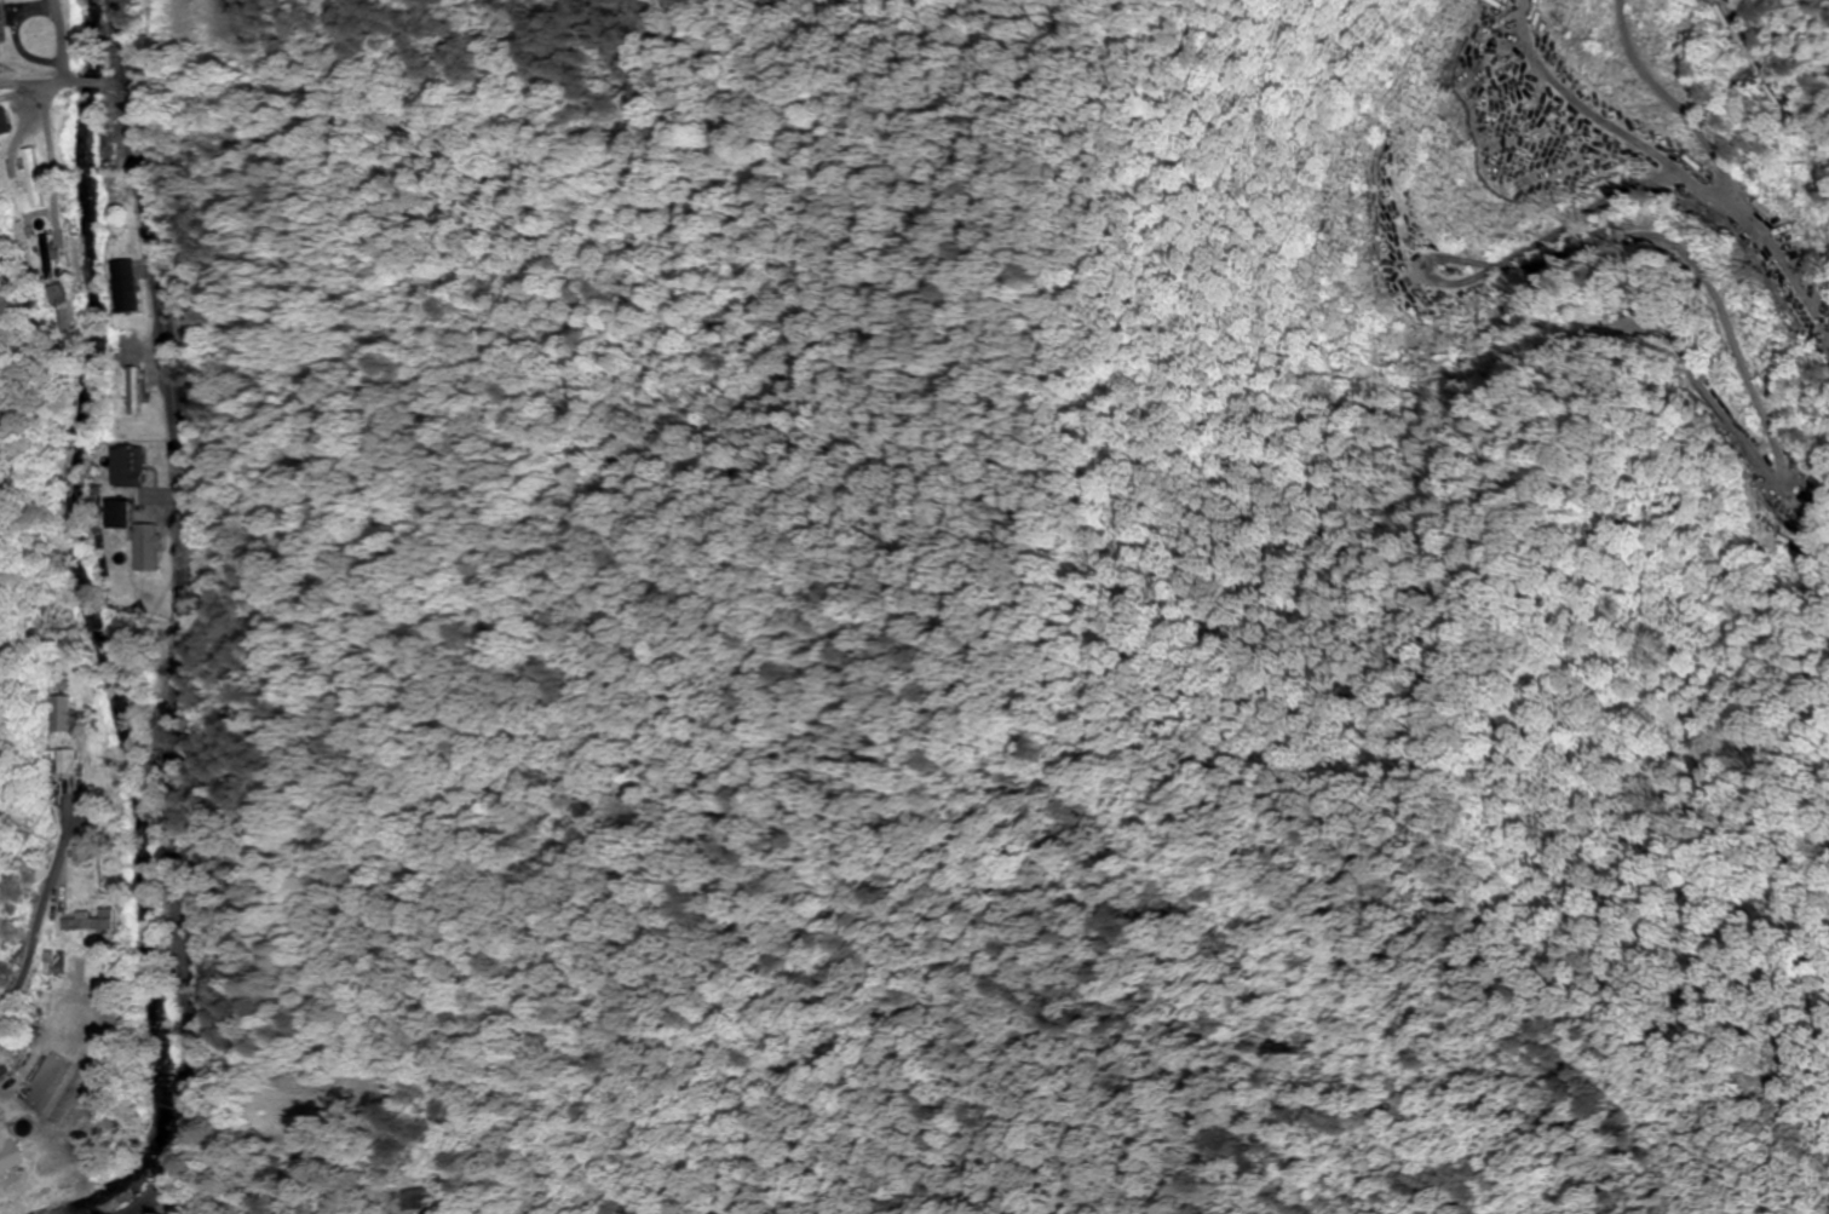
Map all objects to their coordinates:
road: (67, 38)
road: (63, 75)
building: (1, 125)
building: (27, 177)
building: (47, 254)
building: (123, 286)
building: (134, 391)
building: (122, 471)
building: (116, 516)
building: (146, 547)
road: (184, 615)
building: (54, 712)
building: (88, 921)
building: (6, 1156)
building: (427, 1198)

